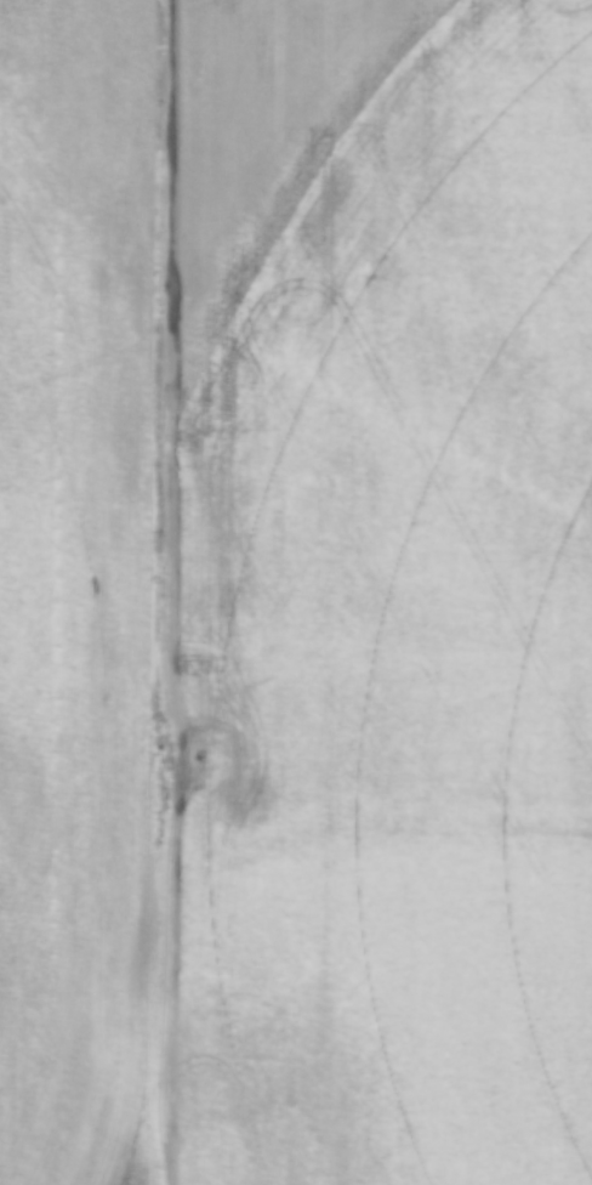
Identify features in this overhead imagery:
crop: (275, 450)

